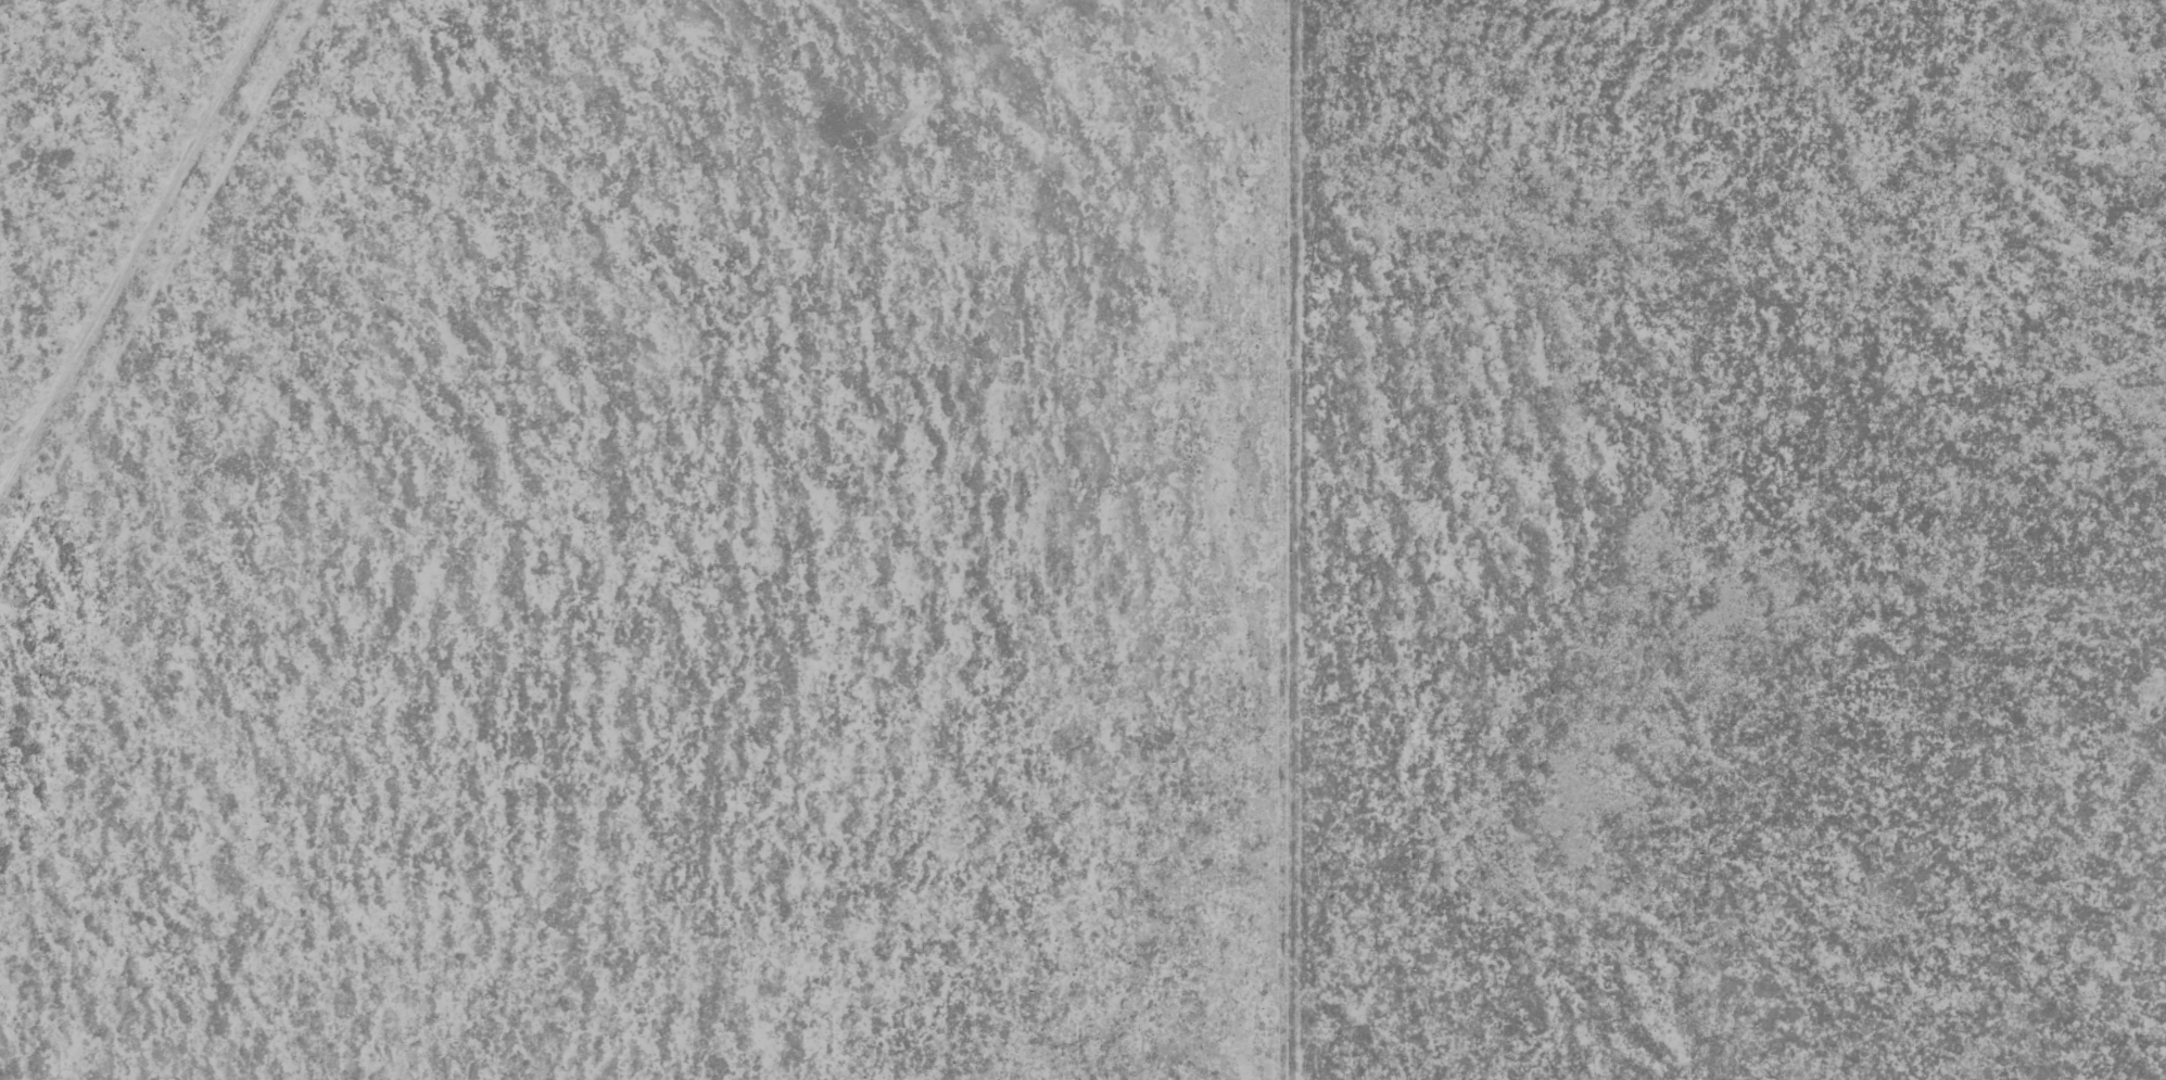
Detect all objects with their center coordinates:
road: (137, 246)

